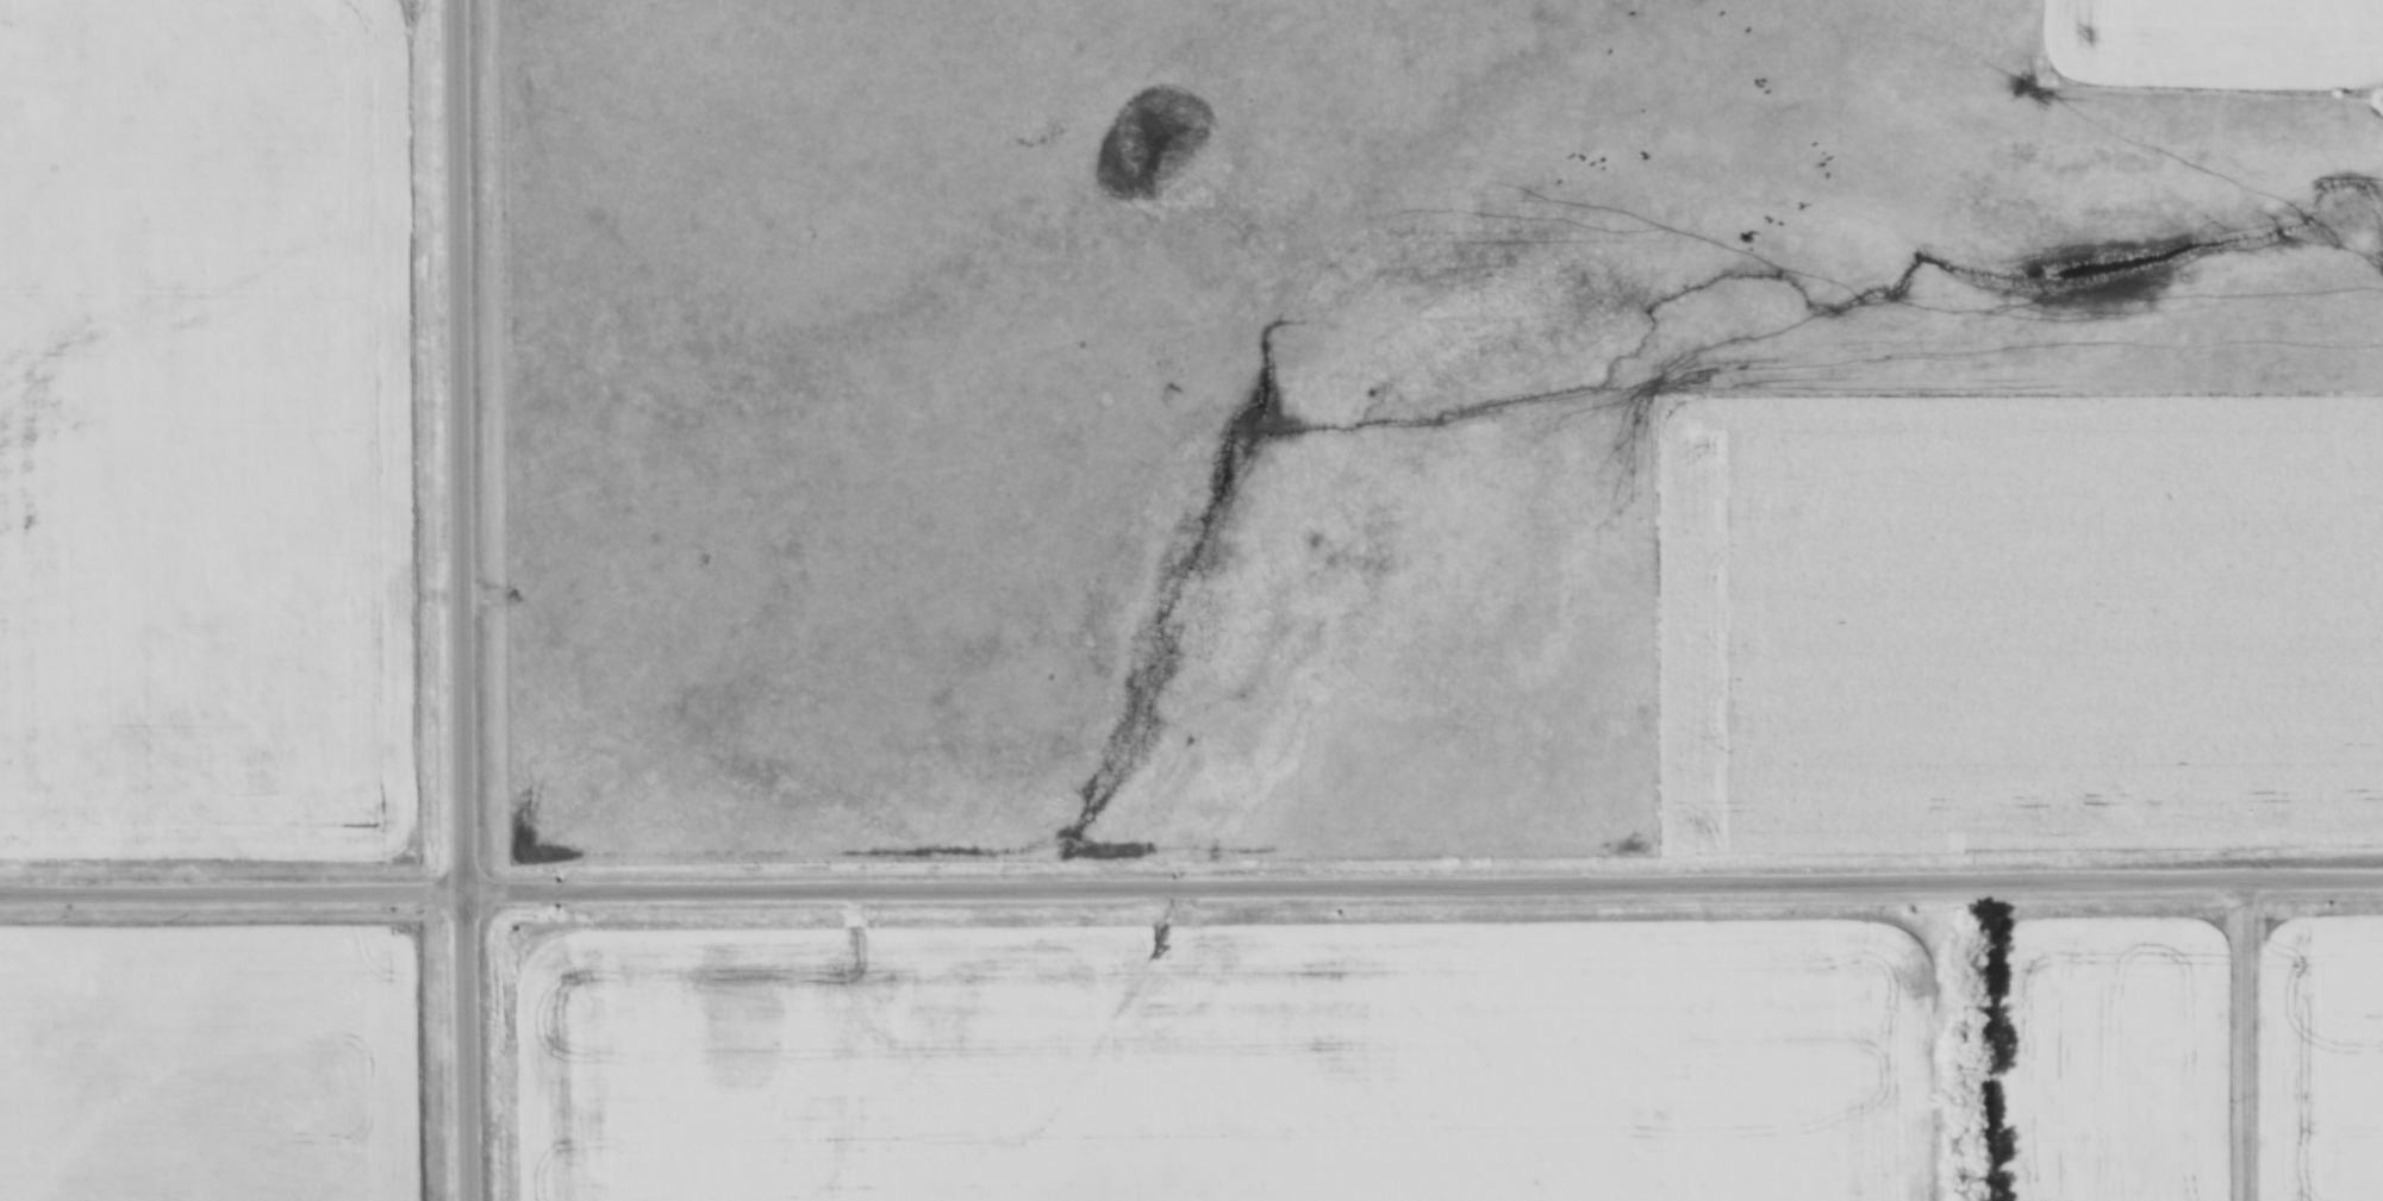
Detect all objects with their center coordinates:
road: (456, 600)
road: (1191, 890)
road: (2244, 1042)

